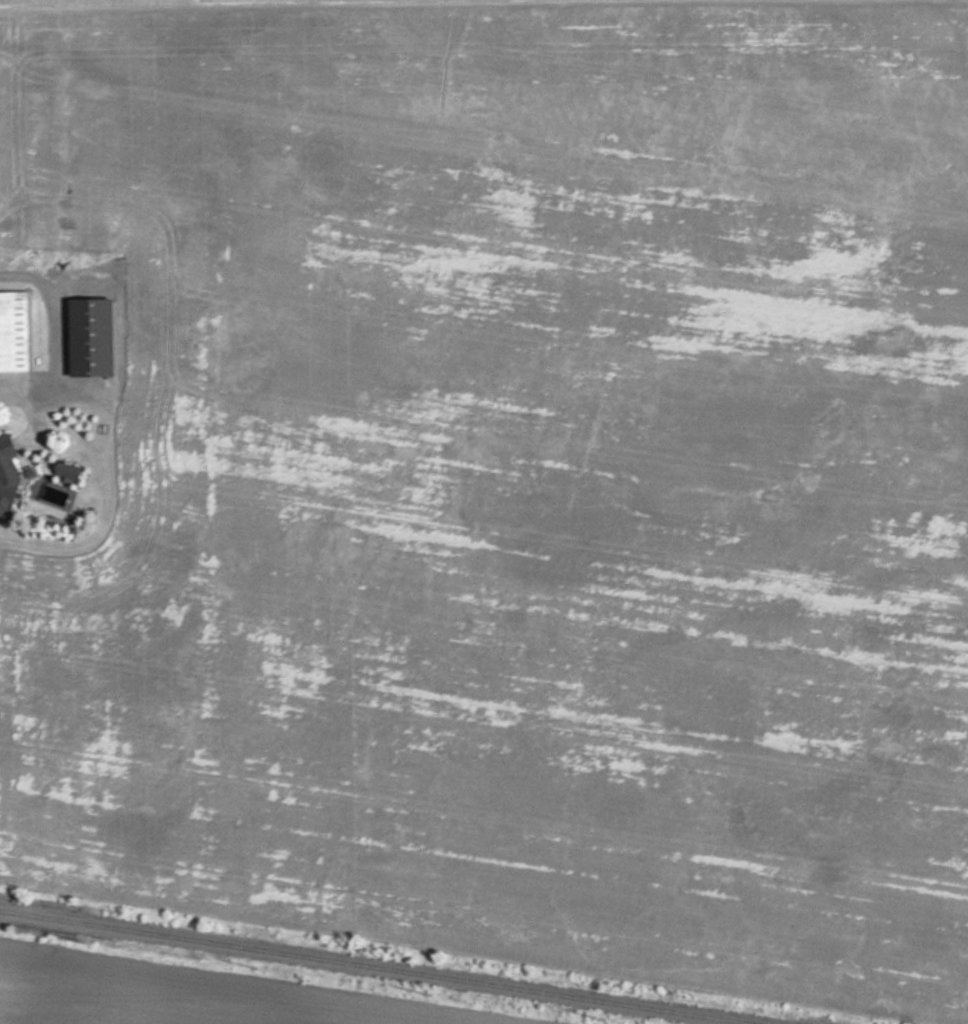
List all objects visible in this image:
building: (13, 331)
building: (89, 337)
building: (6, 475)
railway: (364, 968)

